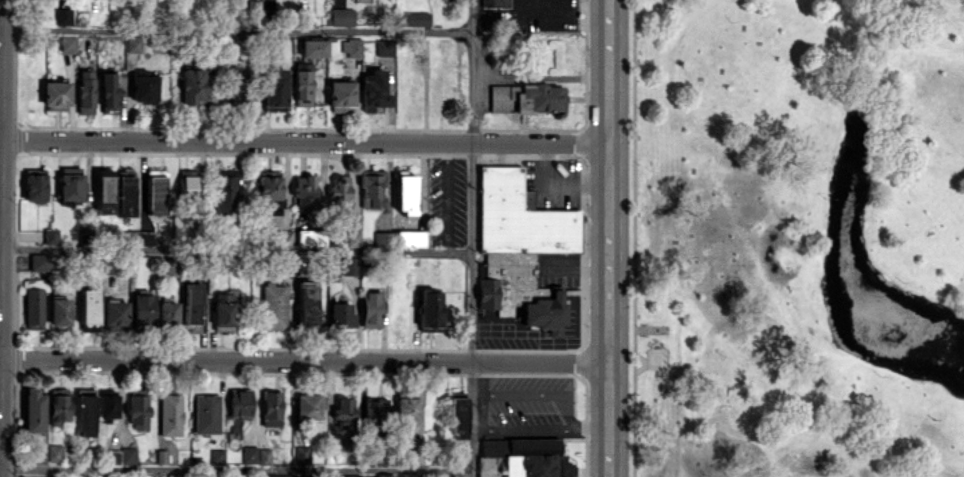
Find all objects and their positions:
building: (494, 3)
building: (62, 16)
building: (340, 16)
building: (414, 19)
road: (234, 30)
building: (67, 43)
building: (133, 44)
building: (351, 47)
building: (385, 47)
building: (313, 48)
building: (302, 84)
building: (190, 87)
building: (274, 87)
building: (144, 88)
building: (85, 91)
building: (238, 91)
building: (108, 93)
building: (56, 95)
building: (341, 96)
building: (525, 97)
road: (1, 140)
road: (306, 141)
building: (187, 183)
building: (34, 185)
building: (69, 185)
building: (371, 188)
building: (269, 190)
building: (304, 190)
building: (104, 191)
building: (226, 191)
building: (339, 191)
building: (155, 192)
building: (406, 194)
building: (124, 195)
building: (50, 236)
building: (139, 237)
building: (309, 237)
road: (3, 238)
building: (287, 238)
building: (353, 238)
building: (408, 238)
road: (470, 238)
road: (608, 238)
park: (796, 238)
building: (380, 239)
building: (519, 248)
road: (235, 250)
building: (39, 261)
building: (350, 265)
building: (306, 302)
building: (191, 303)
building: (273, 306)
building: (89, 307)
building: (33, 308)
building: (223, 309)
building: (429, 309)
building: (60, 310)
building: (142, 310)
building: (115, 312)
building: (167, 312)
building: (340, 314)
road: (1, 358)
flagpole: (667, 358)
road: (305, 359)
flagpole: (666, 361)
flagpole: (666, 364)
building: (58, 406)
building: (309, 406)
building: (107, 407)
building: (239, 407)
building: (137, 408)
building: (271, 408)
building: (33, 410)
building: (84, 412)
building: (375, 412)
building: (206, 413)
building: (344, 413)
building: (170, 414)
building: (457, 419)
road: (539, 430)
building: (54, 452)
building: (249, 454)
building: (302, 454)
building: (39, 455)
building: (216, 456)
building: (264, 456)
building: (413, 457)
building: (522, 458)
road: (235, 469)
building: (174, 475)
building: (284, 475)
building: (385, 475)

